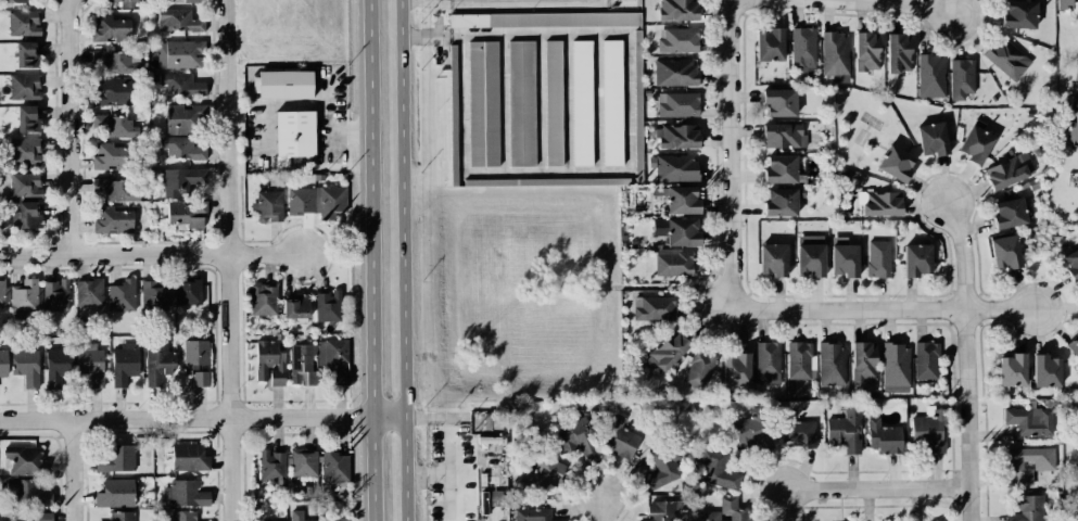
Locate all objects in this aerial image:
building: (14, 1)
building: (192, 1)
building: (127, 3)
road: (494, 3)
road: (841, 4)
building: (1064, 4)
building: (678, 10)
building: (1019, 15)
building: (544, 20)
building: (178, 21)
building: (24, 22)
building: (110, 28)
building: (677, 40)
building: (770, 46)
building: (803, 51)
building: (866, 51)
building: (898, 53)
building: (25, 54)
building: (180, 54)
building: (1006, 58)
building: (110, 60)
building: (675, 72)
building: (1076, 73)
building: (930, 76)
building: (961, 78)
building: (180, 84)
building: (284, 85)
building: (24, 87)
road: (1076, 87)
building: (111, 91)
building: (611, 102)
building: (779, 102)
building: (521, 103)
building: (553, 103)
building: (582, 103)
building: (483, 104)
building: (678, 104)
road: (322, 118)
building: (28, 119)
building: (179, 119)
building: (115, 126)
road: (72, 128)
building: (293, 135)
building: (677, 136)
building: (783, 136)
road: (626, 138)
building: (933, 139)
building: (976, 142)
building: (181, 148)
building: (23, 151)
building: (110, 155)
road: (730, 155)
building: (896, 163)
building: (674, 167)
building: (779, 169)
building: (1006, 173)
building: (180, 180)
building: (25, 185)
building: (117, 189)
building: (682, 200)
building: (317, 201)
building: (781, 202)
building: (879, 203)
building: (268, 206)
building: (1009, 214)
building: (27, 216)
building: (113, 219)
building: (1005, 252)
road: (151, 255)
building: (810, 255)
road: (963, 255)
building: (844, 257)
building: (878, 258)
road: (402, 259)
building: (773, 259)
building: (917, 259)
road: (229, 260)
road: (367, 260)
building: (673, 263)
building: (89, 292)
building: (187, 292)
building: (2, 293)
building: (154, 294)
building: (26, 295)
building: (55, 295)
building: (122, 295)
building: (263, 300)
building: (327, 306)
building: (297, 307)
building: (654, 308)
road: (884, 312)
building: (1073, 345)
building: (668, 352)
building: (331, 354)
building: (194, 355)
building: (157, 360)
building: (800, 360)
building: (863, 360)
building: (926, 360)
building: (269, 361)
building: (3, 363)
building: (125, 363)
building: (768, 363)
building: (301, 364)
building: (58, 365)
building: (832, 365)
building: (90, 366)
building: (26, 367)
building: (896, 368)
building: (699, 369)
building: (736, 370)
building: (1013, 370)
building: (1045, 371)
building: (201, 376)
building: (341, 377)
road: (966, 416)
road: (201, 418)
building: (1030, 420)
building: (752, 430)
building: (929, 430)
building: (796, 431)
building: (845, 431)
building: (574, 435)
building: (885, 437)
building: (620, 439)
building: (189, 457)
building: (114, 458)
building: (24, 459)
building: (1074, 461)
building: (303, 462)
building: (1028, 463)
building: (334, 467)
building: (272, 468)
building: (716, 469)
road: (74, 470)
building: (661, 470)
building: (543, 474)
road: (435, 478)
road: (867, 488)
building: (115, 493)
building: (186, 494)
building: (29, 500)
road: (601, 508)
building: (1028, 508)
building: (660, 511)
building: (725, 511)
building: (1074, 513)
building: (532, 514)
building: (122, 516)
building: (183, 516)
building: (297, 516)
building: (337, 519)

